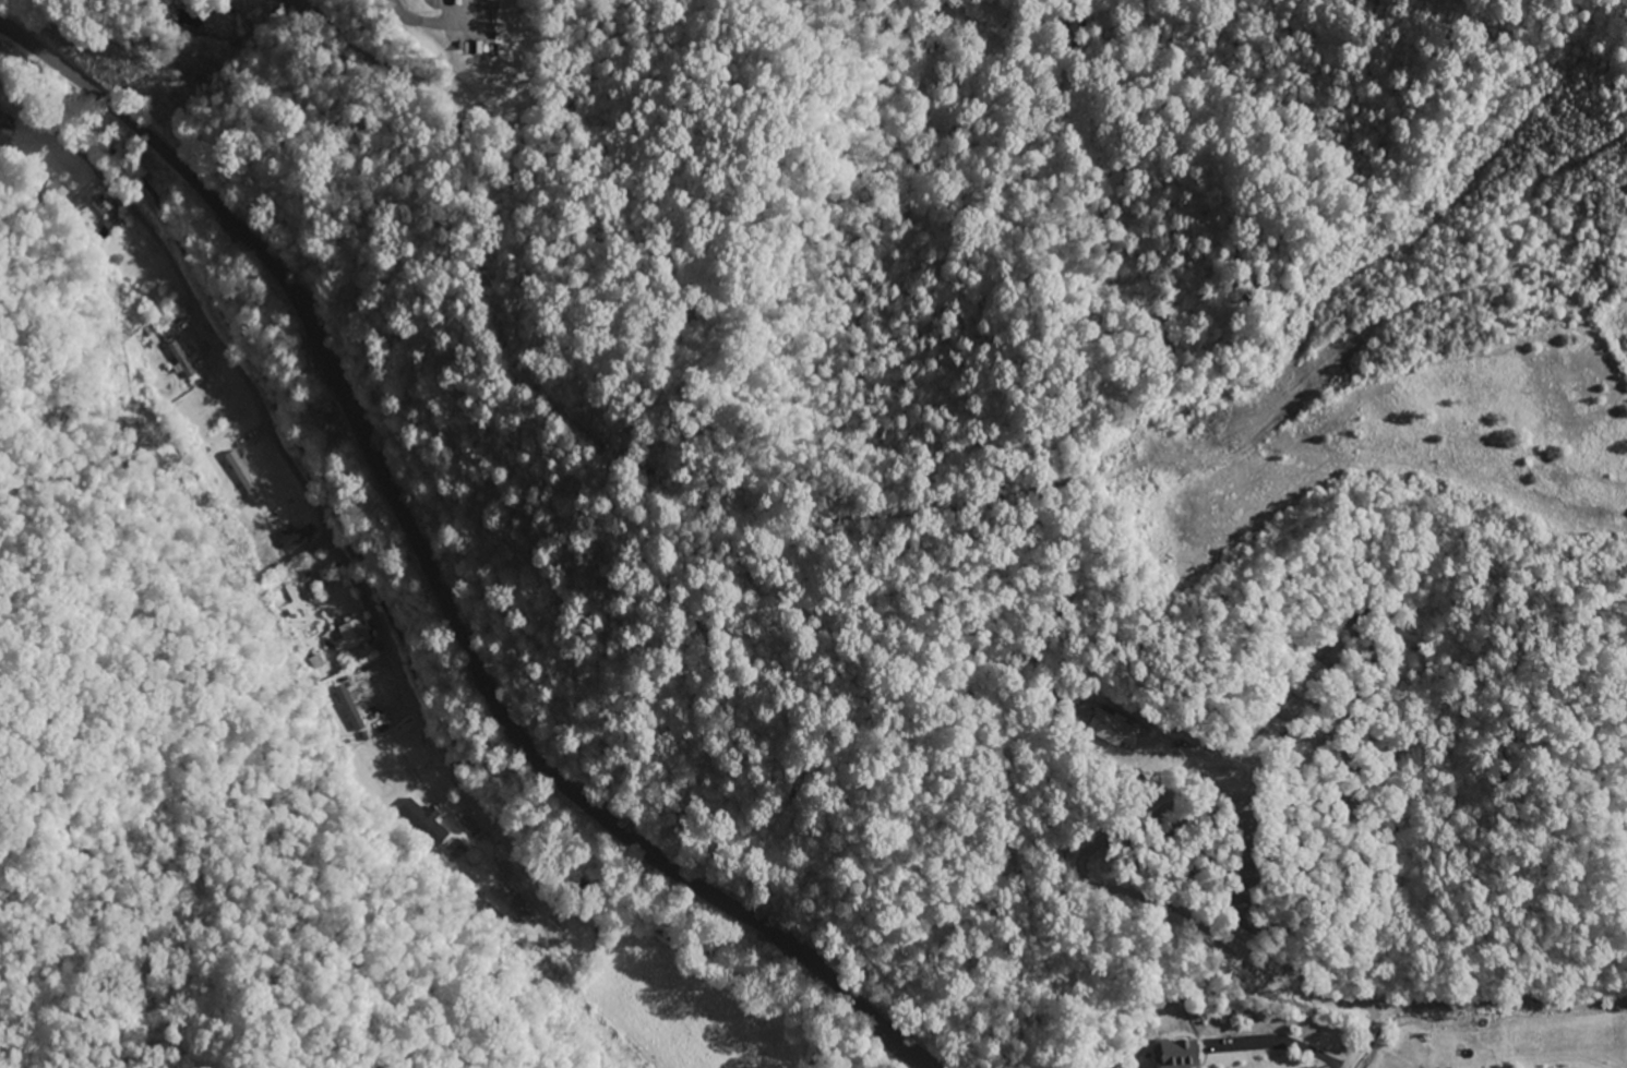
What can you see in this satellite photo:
building: (7, 129)
building: (111, 216)
building: (184, 362)
road: (270, 418)
building: (248, 478)
building: (300, 537)
road: (438, 577)
building: (356, 635)
building: (352, 710)
building: (1117, 730)
building: (429, 823)
road: (1470, 1005)
building: (1182, 1055)
building: (1318, 1067)

